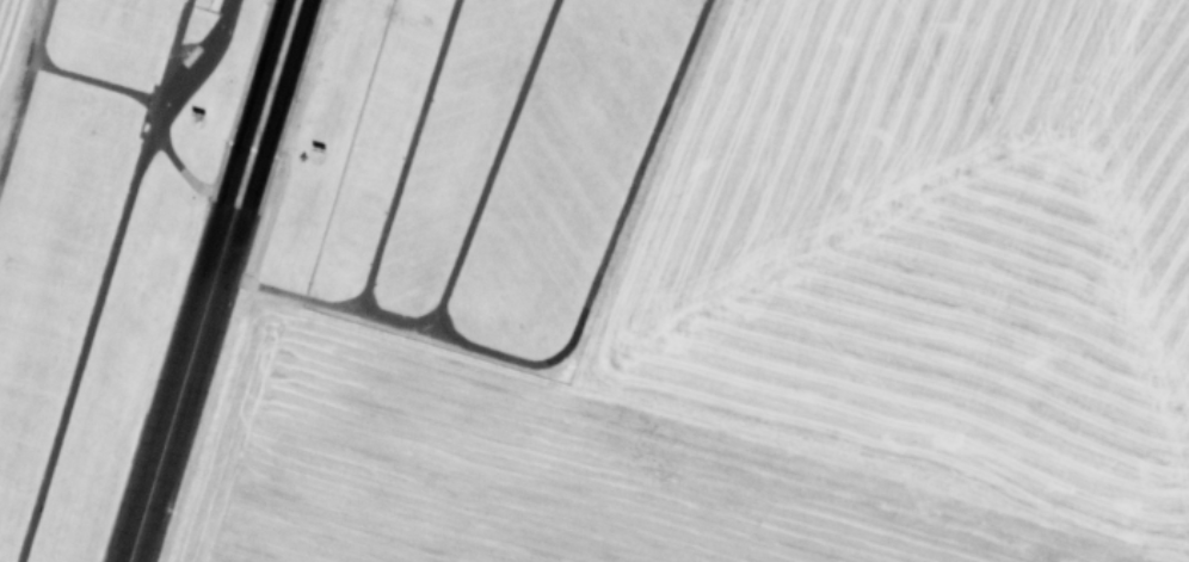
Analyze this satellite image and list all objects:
crop: (11, 39)
road: (24, 84)
road: (406, 158)
road: (173, 160)
road: (491, 168)
road: (107, 272)
raceway: (210, 280)
road: (573, 327)
crop: (801, 327)

